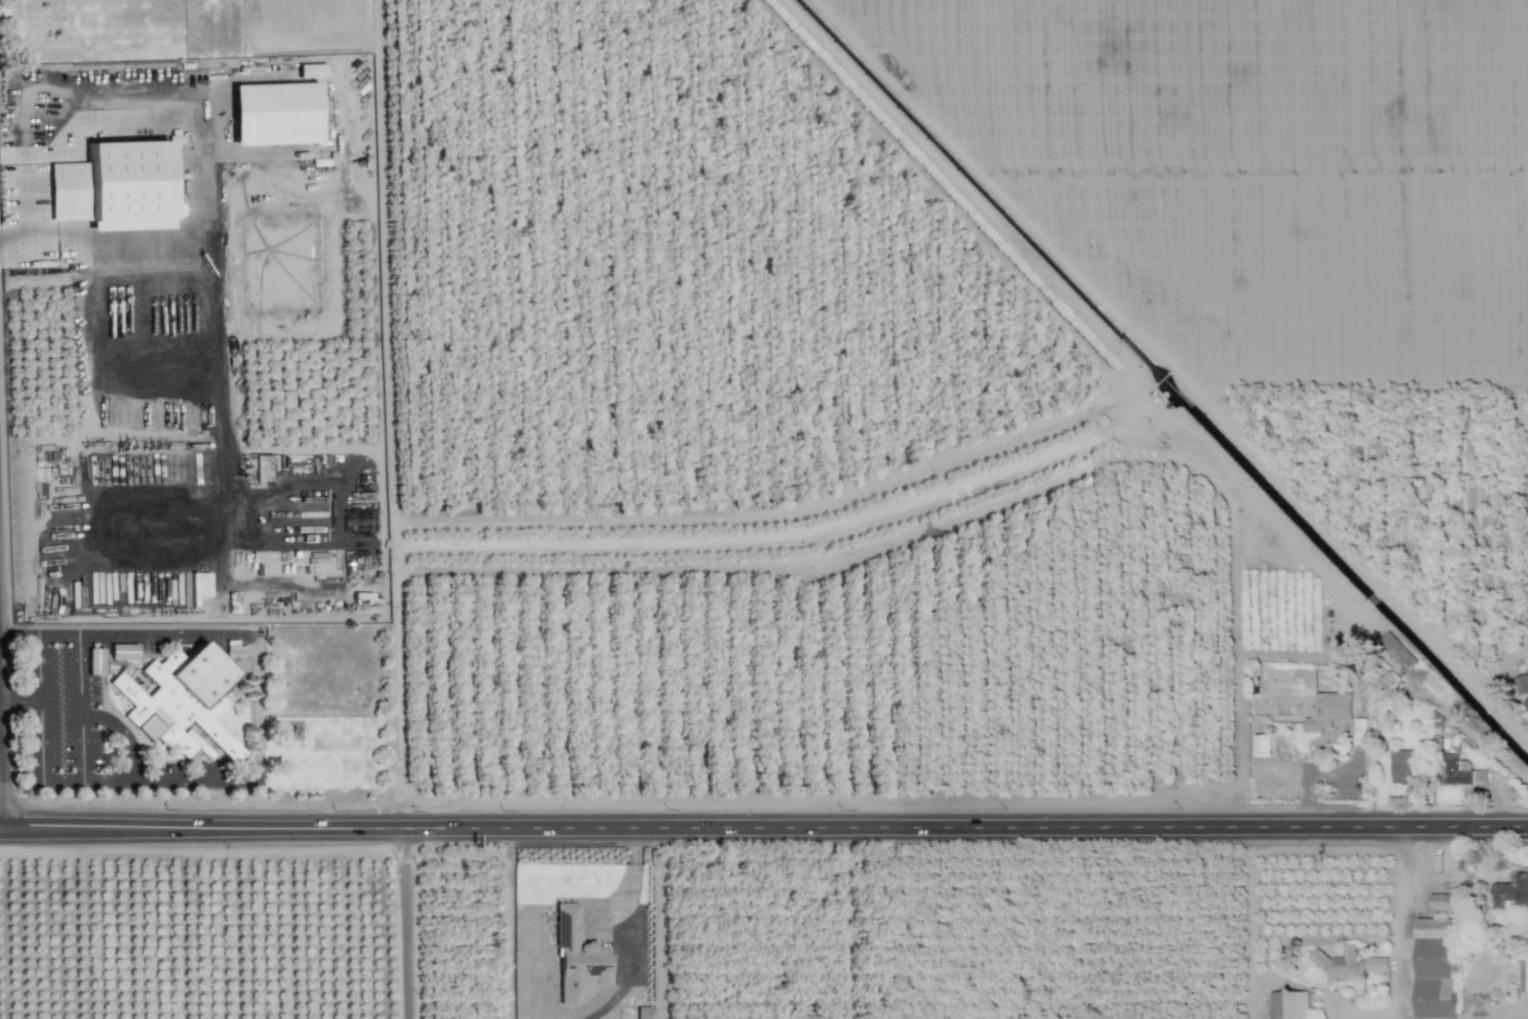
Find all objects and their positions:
building: (311, 70)
building: (275, 114)
building: (115, 187)
road: (24, 188)
road: (14, 246)
building: (195, 587)
road: (162, 635)
building: (234, 649)
building: (123, 652)
building: (1394, 659)
building: (95, 661)
road: (38, 664)
building: (1521, 684)
building: (181, 702)
building: (1526, 704)
building: (1329, 710)
building: (1359, 732)
road: (121, 734)
building: (1262, 745)
road: (82, 750)
building: (1404, 767)
building: (1458, 772)
road: (167, 778)
road: (0, 788)
road: (0, 827)
road: (764, 828)
building: (1511, 891)
building: (1443, 901)
road: (1252, 923)
road: (410, 924)
building: (579, 959)
building: (1339, 963)
building: (1377, 965)
building: (1435, 968)
building: (1523, 974)
building: (1289, 1004)
building: (643, 1012)

